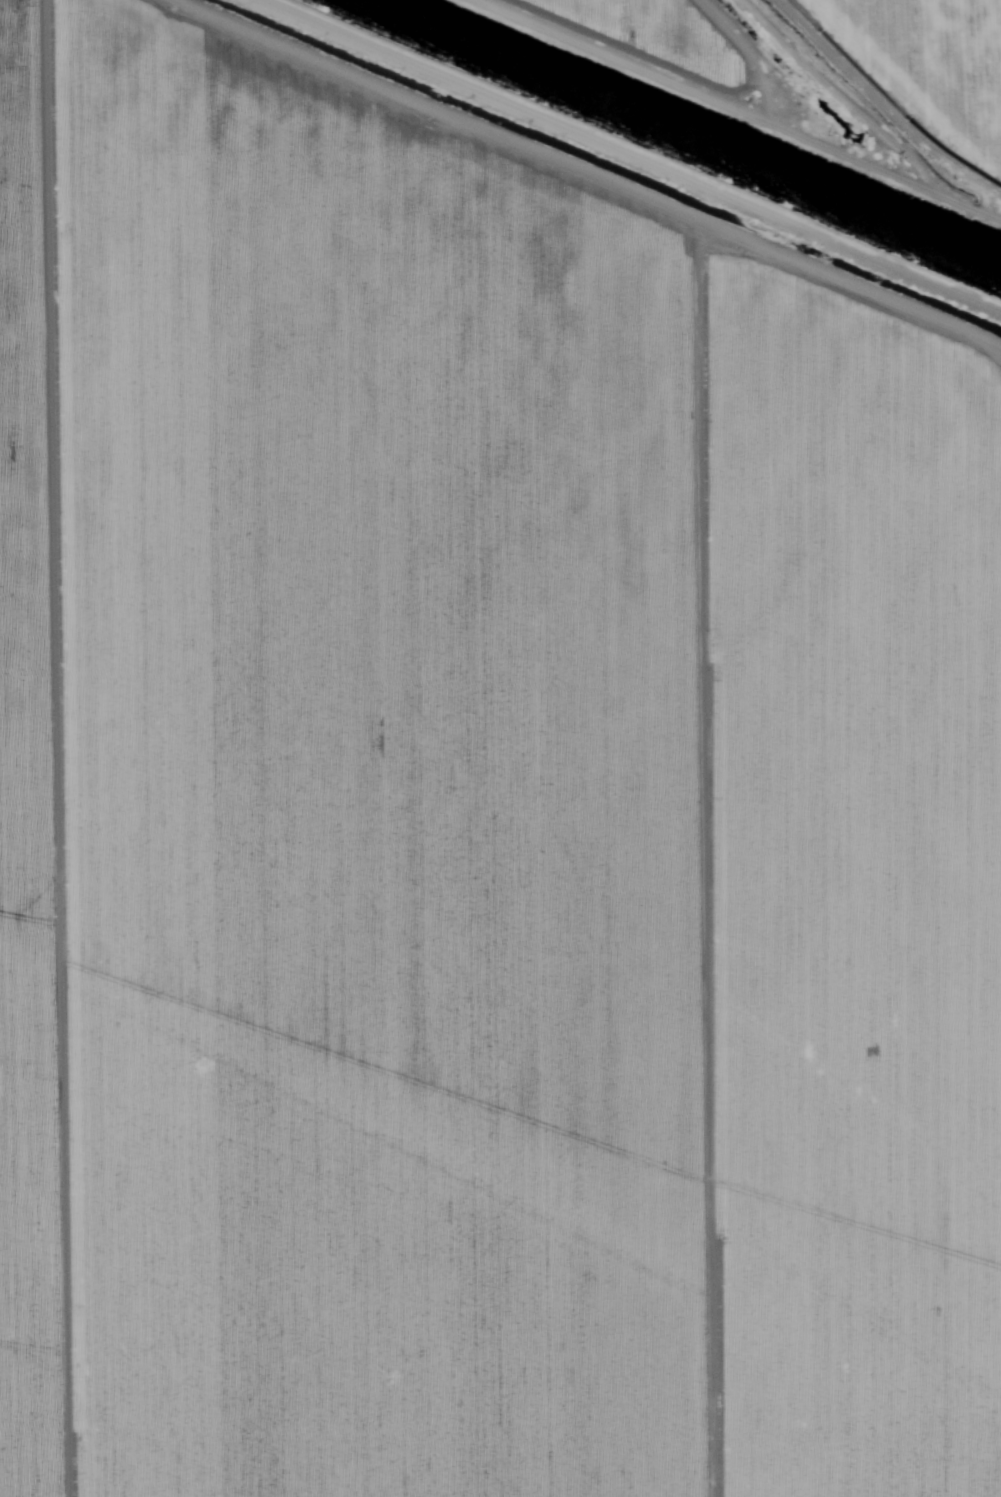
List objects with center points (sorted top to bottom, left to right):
road: (778, 22)
crop: (839, 69)
road: (837, 75)
road: (520, 184)
crop: (476, 812)

